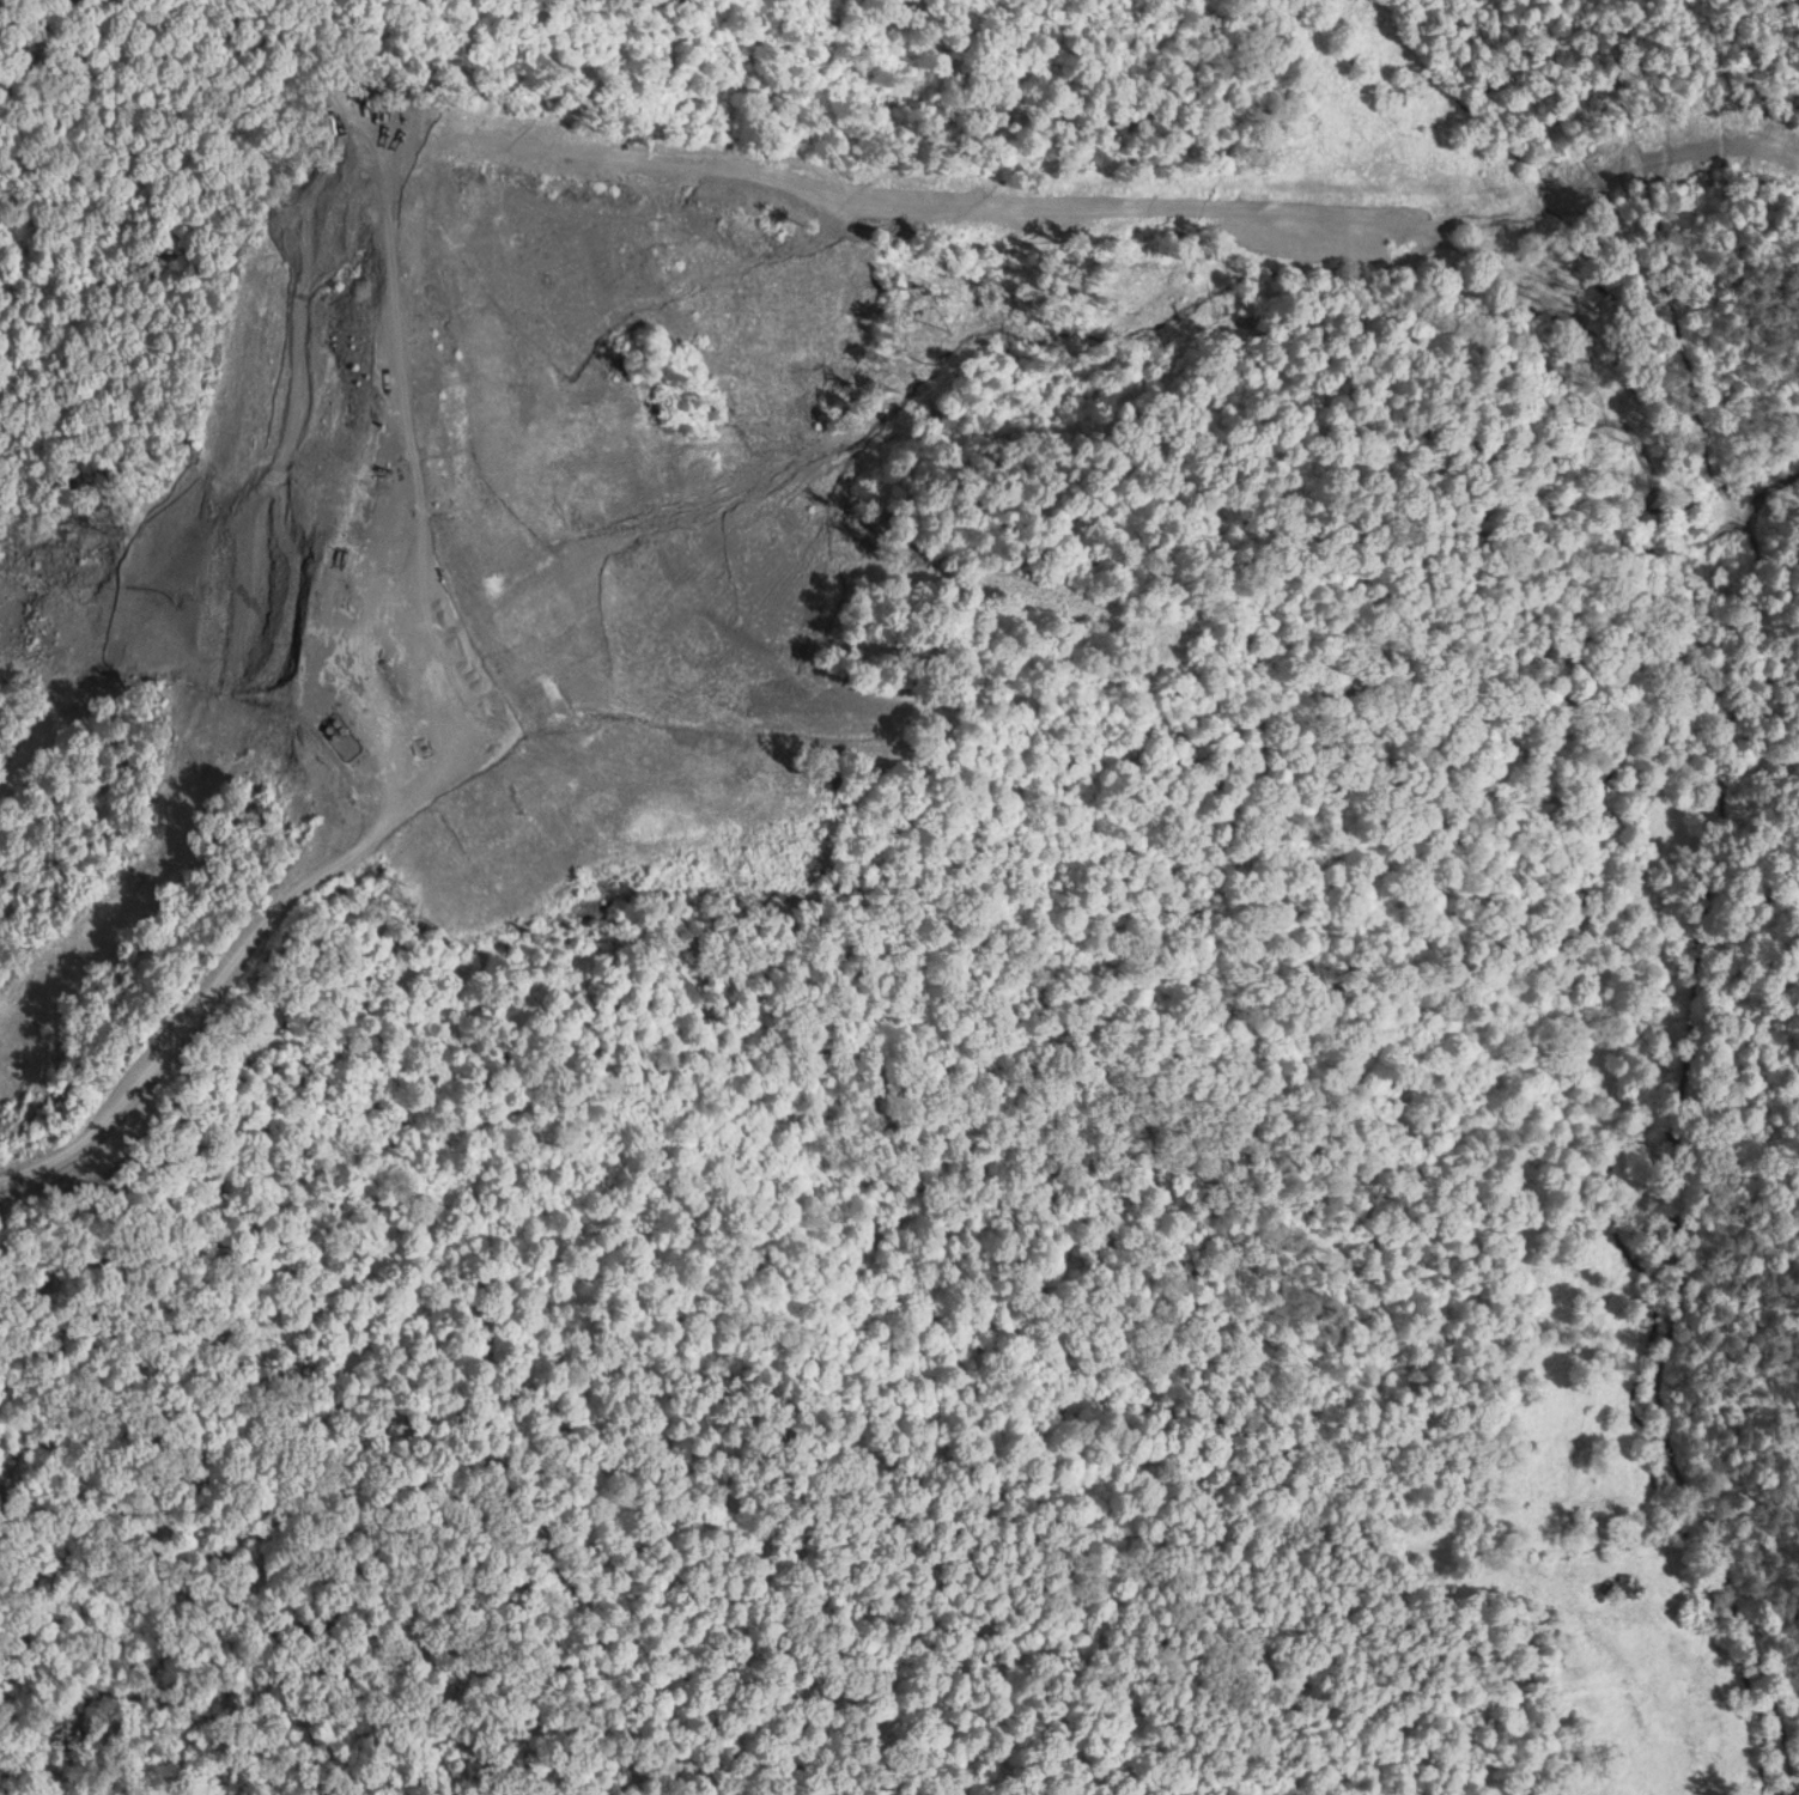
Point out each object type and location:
building: (1618, 1581)

